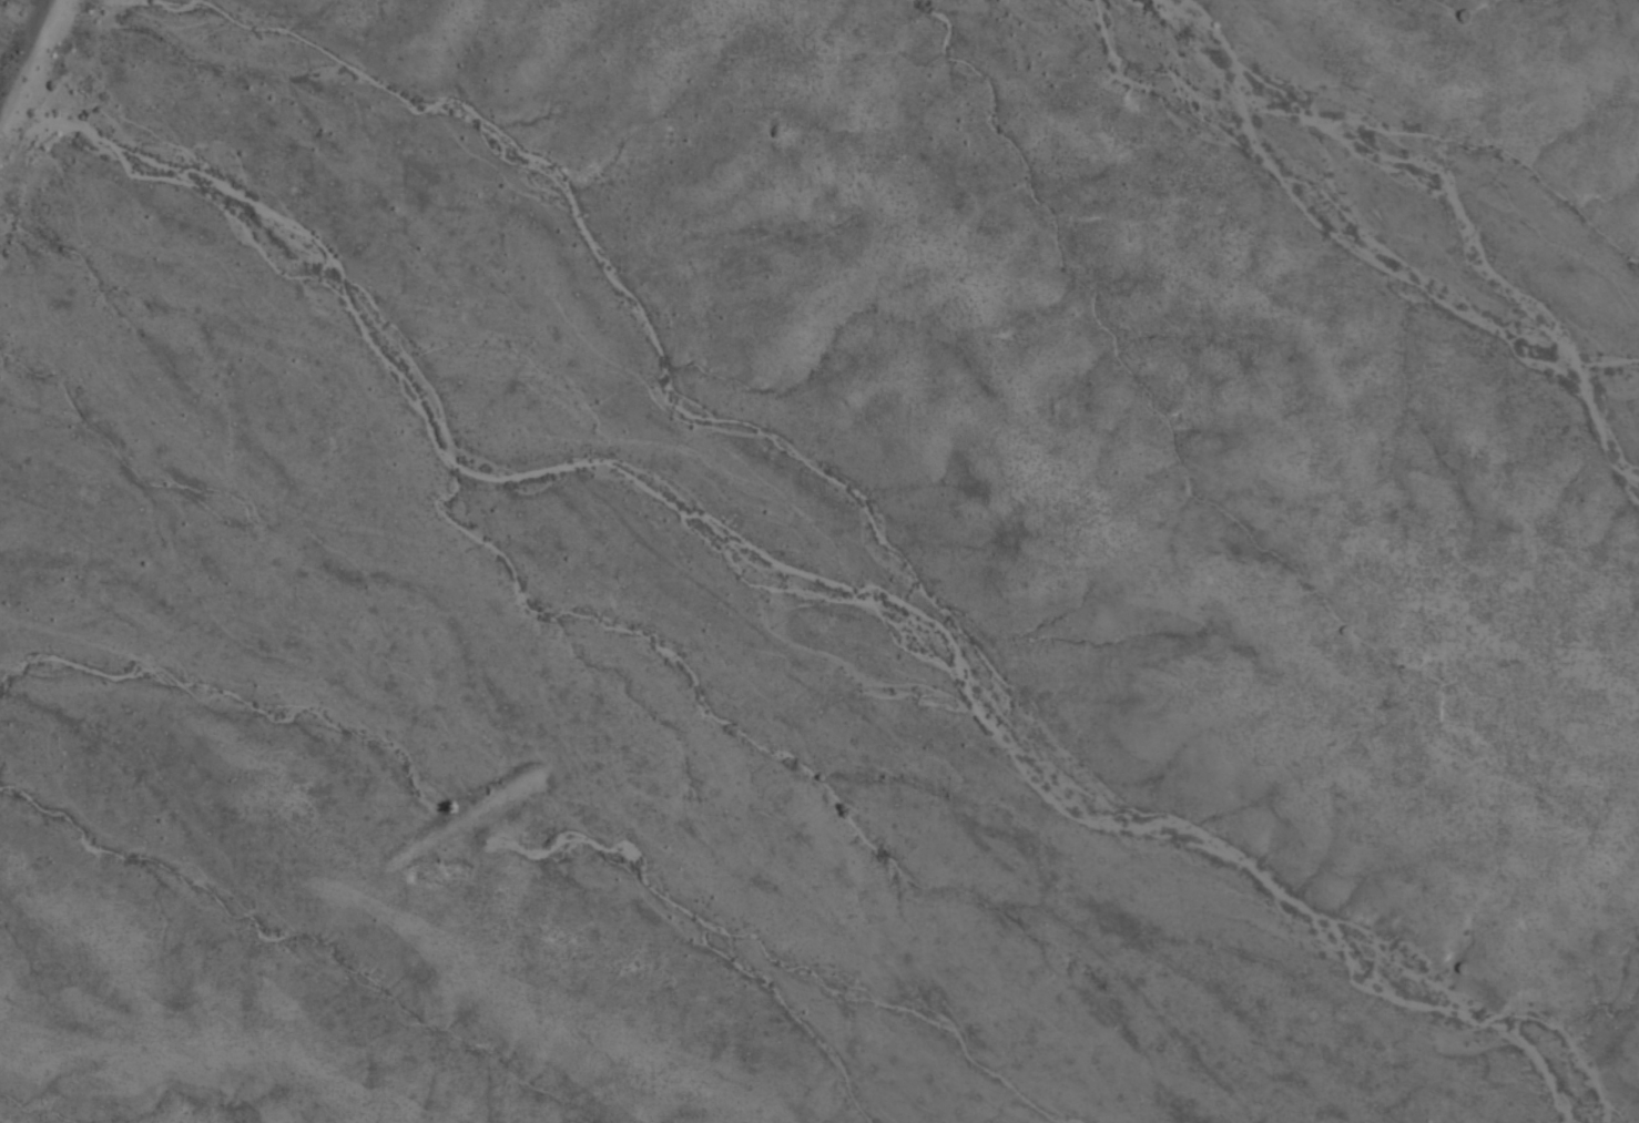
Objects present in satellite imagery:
dam: (33, 80)

